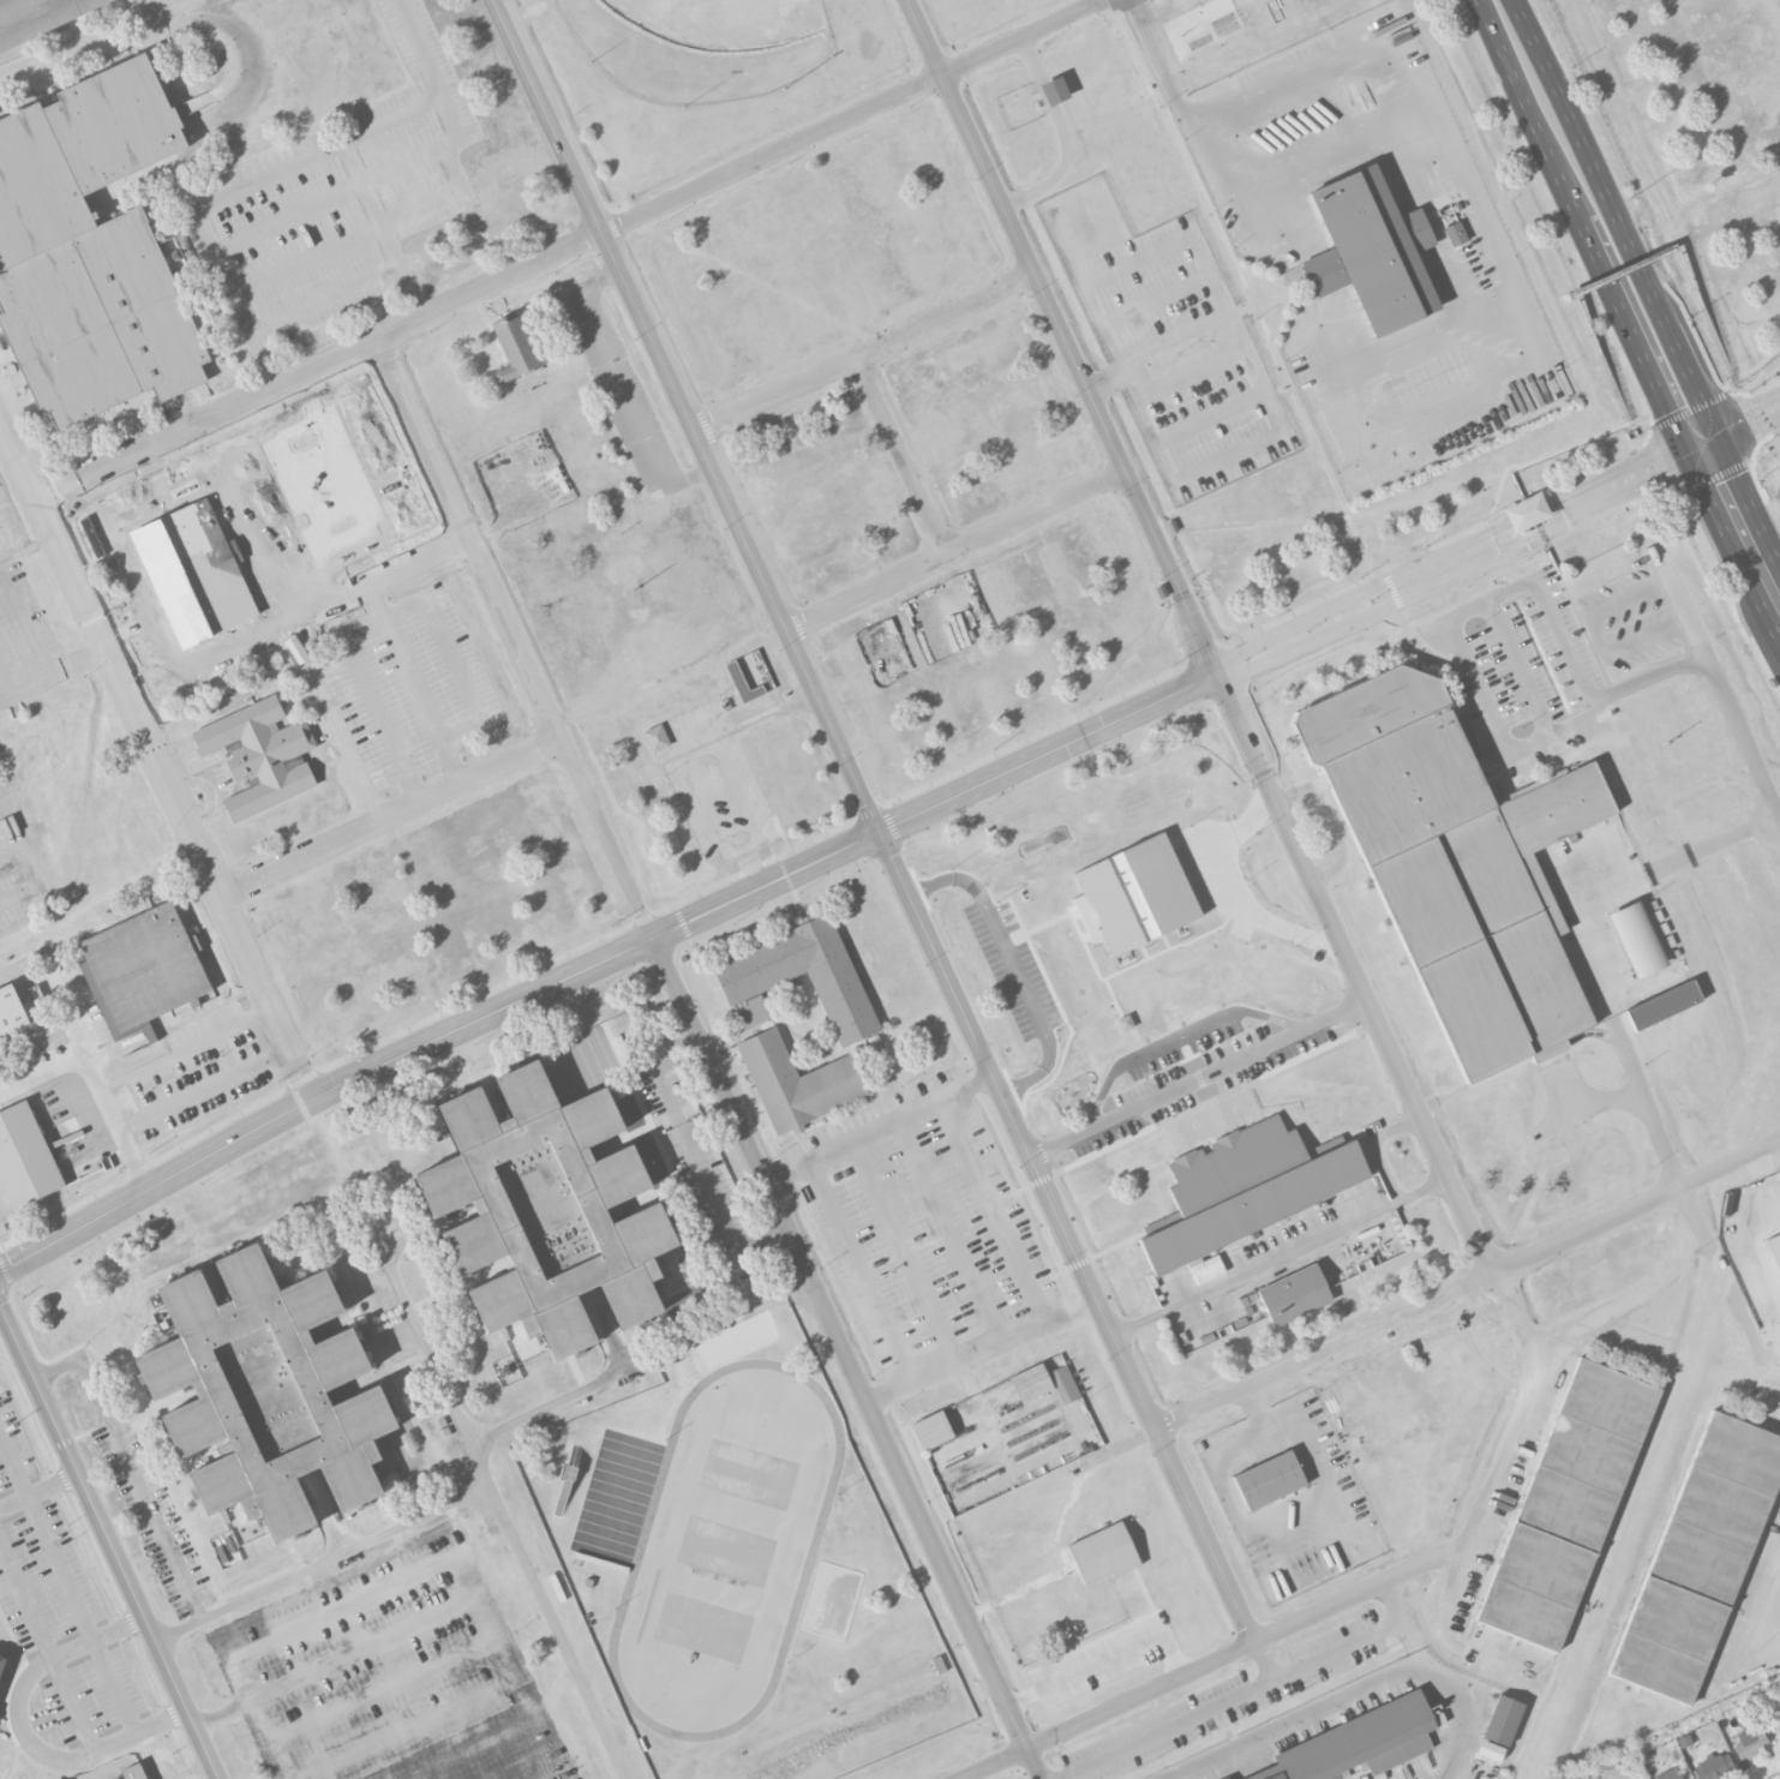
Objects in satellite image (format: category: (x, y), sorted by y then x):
building: (37, 17)
road: (1156, 18)
road: (220, 37)
park: (696, 44)
road: (84, 49)
building: (1054, 91)
road: (1201, 134)
road: (1065, 136)
road: (275, 173)
road: (359, 185)
parking lot: (338, 197)
road: (1618, 220)
road: (1584, 227)
road: (382, 233)
building: (1455, 234)
road: (597, 242)
building: (90, 250)
building: (1371, 252)
road: (308, 260)
road: (1622, 269)
road: (1623, 272)
parking lot: (1170, 342)
building: (515, 348)
road: (869, 355)
road: (1757, 366)
parking lot: (621, 391)
road: (623, 391)
road: (1680, 415)
road: (1742, 426)
traffic signals: (1704, 444)
road: (905, 459)
road: (1620, 484)
road: (60, 496)
road: (1400, 503)
building: (1526, 513)
road: (1353, 519)
road: (1740, 523)
road: (960, 551)
road: (1517, 585)
road: (318, 613)
road: (1293, 613)
road: (1586, 617)
road: (454, 659)
road: (1517, 666)
road: (669, 671)
road: (54, 675)
building: (743, 684)
road: (415, 685)
parking lot: (400, 691)
road: (149, 695)
road: (2, 699)
road: (376, 705)
road: (128, 706)
road: (768, 715)
road: (1575, 717)
road: (1733, 721)
road: (329, 727)
building: (655, 738)
road: (699, 745)
building: (260, 755)
road: (1264, 771)
road: (739, 791)
road: (705, 805)
road: (408, 808)
road: (875, 820)
road: (2, 851)
road: (744, 852)
building: (1457, 863)
road: (235, 885)
road: (762, 888)
building: (1636, 939)
road: (1019, 966)
building: (143, 971)
building: (839, 988)
building: (1662, 1005)
building: (1176, 1012)
building: (30, 1017)
road: (1180, 1040)
road: (287, 1044)
road: (705, 1049)
road: (185, 1050)
building: (797, 1083)
road: (1203, 1083)
road: (96, 1088)
road: (203, 1088)
road: (881, 1133)
building: (25, 1157)
road: (695, 1158)
road: (1388, 1169)
building: (1245, 1190)
road: (1691, 1206)
building: (545, 1210)
road: (997, 1215)
road: (1255, 1268)
road: (1467, 1283)
road: (877, 1294)
building: (1294, 1294)
road: (1599, 1324)
road: (1007, 1342)
road: (641, 1364)
building: (1030, 1383)
building: (1063, 1385)
building: (265, 1392)
building: (930, 1431)
road: (130, 1468)
building: (1267, 1481)
road: (37, 1486)
building: (1566, 1504)
road: (503, 1515)
road: (109, 1541)
building: (226, 1550)
building: (1103, 1553)
building: (1698, 1558)
road: (322, 1563)
road: (70, 1583)
road: (1768, 1610)
road: (1401, 1616)
road: (120, 1628)
road: (48, 1648)
road: (1266, 1658)
road: (1218, 1659)
building: (2, 1664)
parking lot: (389, 1675)
road: (1230, 1697)
road: (1451, 1709)
road: (263, 1712)
building: (1502, 1720)
building: (1353, 1741)
building: (1751, 1747)
road: (38, 1750)
building: (1490, 1750)
road: (11, 1762)
road: (1032, 1767)
building: (1715, 1767)
building: (133, 1772)
building: (1667, 1774)
building: (1225, 1778)

